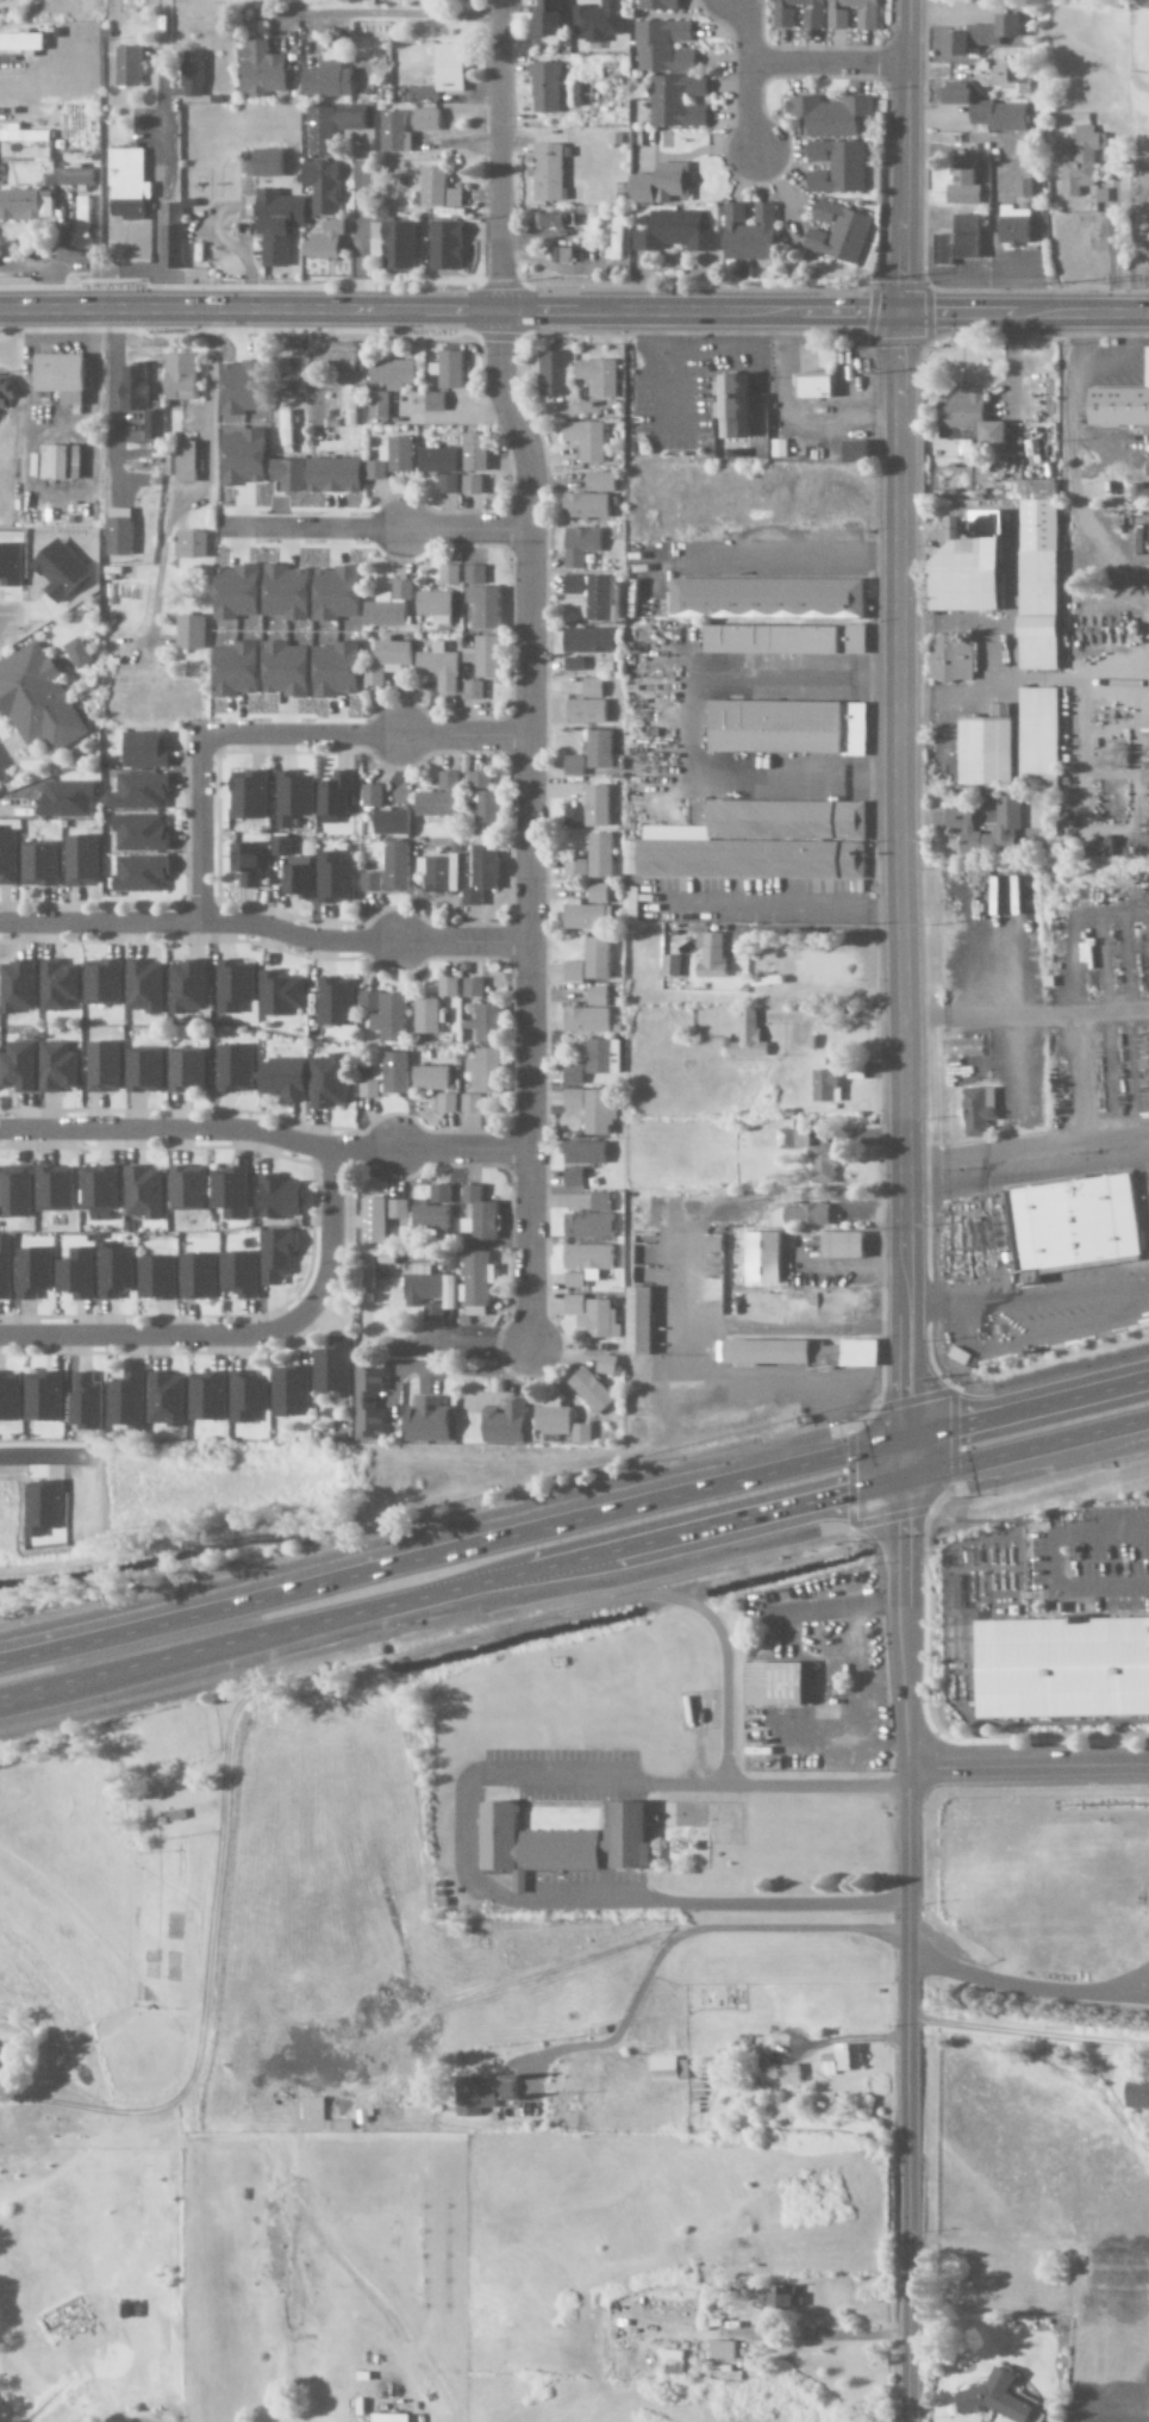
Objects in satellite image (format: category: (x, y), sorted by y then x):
building: (442, 0)
building: (656, 5)
building: (544, 18)
building: (780, 18)
building: (835, 19)
building: (597, 21)
building: (979, 36)
building: (20, 44)
building: (661, 46)
road: (826, 61)
building: (126, 67)
building: (445, 68)
building: (256, 70)
road: (747, 71)
building: (189, 75)
building: (1005, 75)
building: (324, 81)
building: (542, 88)
building: (675, 101)
building: (985, 112)
building: (828, 114)
building: (424, 120)
building: (329, 127)
building: (393, 133)
building: (21, 136)
building: (1080, 161)
building: (263, 163)
building: (833, 167)
building: (545, 170)
building: (74, 178)
building: (962, 180)
building: (126, 183)
building: (658, 185)
building: (319, 187)
building: (1022, 189)
building: (433, 192)
building: (17, 206)
road: (357, 220)
building: (548, 222)
building: (274, 225)
building: (1011, 228)
building: (673, 234)
building: (747, 234)
building: (836, 234)
building: (168, 237)
building: (616, 238)
building: (321, 242)
building: (955, 242)
building: (395, 248)
building: (443, 248)
building: (1147, 251)
road: (574, 307)
traffic signals: (900, 312)
building: (454, 368)
building: (556, 372)
building: (395, 373)
building: (183, 375)
building: (65, 376)
building: (602, 376)
building: (294, 386)
building: (818, 386)
building: (136, 387)
building: (7, 391)
road: (112, 401)
building: (437, 401)
building: (380, 404)
building: (736, 405)
building: (352, 406)
building: (1119, 406)
building: (963, 415)
building: (155, 424)
building: (288, 428)
building: (997, 434)
building: (589, 440)
building: (339, 446)
building: (780, 448)
building: (858, 450)
building: (394, 459)
building: (62, 461)
building: (477, 461)
building: (183, 462)
building: (444, 467)
building: (1148, 467)
building: (602, 481)
building: (1145, 494)
building: (589, 505)
road: (466, 529)
building: (121, 535)
building: (192, 544)
building: (581, 546)
road: (776, 560)
building: (976, 566)
building: (1041, 571)
building: (450, 574)
building: (239, 591)
building: (288, 592)
building: (338, 592)
building: (593, 593)
building: (485, 598)
building: (770, 598)
building: (391, 605)
building: (438, 605)
building: (193, 631)
building: (788, 639)
building: (589, 640)
building: (81, 653)
building: (395, 655)
building: (491, 656)
building: (951, 659)
building: (575, 664)
building: (442, 666)
building: (238, 668)
building: (288, 668)
building: (338, 670)
road: (525, 670)
building: (375, 675)
building: (594, 687)
building: (475, 690)
building: (39, 701)
building: (588, 711)
road: (895, 717)
road: (685, 724)
building: (789, 727)
building: (1043, 735)
road: (361, 736)
building: (148, 749)
building: (600, 749)
building: (991, 751)
building: (575, 765)
building: (143, 791)
building: (250, 795)
building: (373, 796)
building: (337, 797)
building: (441, 797)
building: (69, 798)
building: (294, 798)
building: (486, 803)
building: (599, 805)
building: (962, 816)
building: (575, 817)
building: (394, 822)
road: (198, 829)
building: (143, 832)
building: (757, 843)
building: (283, 845)
building: (602, 855)
building: (8, 857)
building: (85, 860)
building: (250, 864)
building: (42, 865)
building: (577, 868)
building: (392, 870)
building: (441, 872)
building: (143, 873)
building: (483, 873)
building: (336, 878)
building: (301, 880)
building: (600, 894)
building: (631, 903)
road: (774, 904)
building: (591, 916)
road: (263, 928)
building: (713, 955)
building: (599, 958)
building: (672, 966)
building: (575, 971)
building: (105, 982)
building: (60, 985)
building: (145, 985)
building: (19, 986)
building: (188, 986)
building: (235, 986)
building: (449, 986)
building: (474, 986)
building: (282, 994)
building: (599, 996)
building: (337, 1001)
building: (387, 1014)
building: (430, 1016)
building: (589, 1020)
building: (487, 1022)
building: (750, 1036)
building: (593, 1063)
building: (20, 1066)
building: (61, 1066)
building: (106, 1066)
building: (237, 1067)
building: (188, 1070)
building: (146, 1071)
building: (398, 1072)
building: (286, 1078)
building: (433, 1078)
building: (485, 1078)
building: (330, 1081)
building: (371, 1085)
building: (828, 1085)
building: (576, 1100)
building: (449, 1103)
building: (601, 1112)
building: (980, 1112)
road: (262, 1134)
building: (808, 1148)
building: (588, 1152)
building: (575, 1177)
building: (57, 1188)
building: (188, 1188)
building: (17, 1191)
building: (231, 1191)
building: (100, 1193)
building: (144, 1193)
building: (282, 1197)
building: (602, 1202)
building: (400, 1209)
building: (481, 1215)
building: (808, 1215)
building: (375, 1220)
building: (1078, 1222)
building: (591, 1225)
building: (847, 1245)
building: (279, 1256)
building: (767, 1257)
building: (588, 1263)
building: (6, 1266)
building: (118, 1270)
building: (36, 1272)
building: (79, 1274)
building: (241, 1274)
building: (200, 1276)
building: (158, 1277)
building: (479, 1278)
building: (432, 1288)
building: (575, 1305)
building: (435, 1313)
building: (601, 1320)
building: (642, 1321)
road: (238, 1332)
building: (800, 1352)
building: (335, 1368)
building: (292, 1391)
building: (593, 1391)
building: (11, 1396)
building: (45, 1396)
building: (210, 1396)
building: (249, 1396)
building: (169, 1399)
building: (129, 1400)
building: (87, 1402)
building: (369, 1403)
road: (1024, 1407)
building: (430, 1421)
building: (508, 1424)
traffic signals: (900, 1437)
road: (1025, 1453)
road: (900, 1461)
traffic signals: (901, 1484)
building: (46, 1508)
road: (450, 1554)
road: (450, 1590)
building: (1064, 1668)
road: (77, 1683)
road: (270, 1685)
building: (782, 1685)
road: (1026, 1764)
parking lot: (561, 1775)
road: (812, 1786)
building: (629, 1837)
building: (531, 1844)
parking lot: (581, 1882)
road: (500, 1899)
road: (903, 1953)
building: (842, 2060)
building: (5, 2062)
building: (669, 2068)
building: (791, 2074)
building: (483, 2094)
building: (1139, 2094)
building: (314, 2115)
building: (782, 2303)
building: (722, 2351)
building: (998, 2398)

